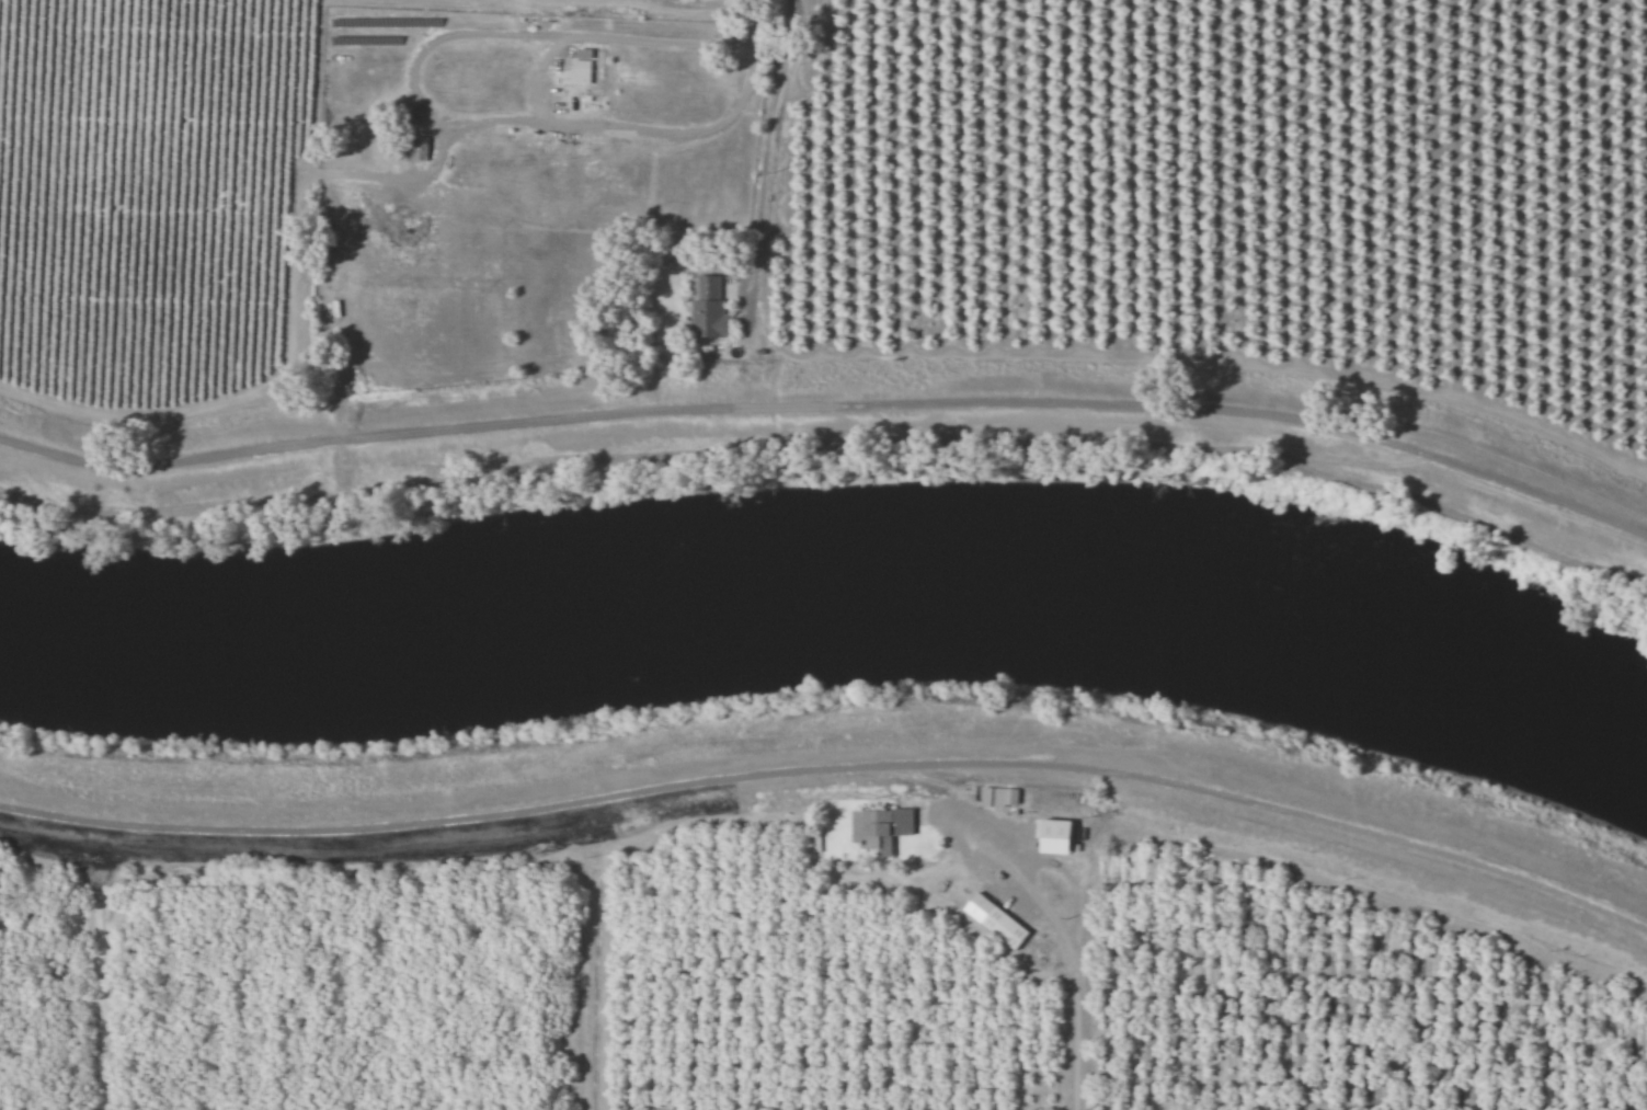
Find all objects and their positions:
road: (757, 37)
building: (581, 72)
road: (535, 94)
road: (767, 160)
building: (712, 309)
road: (830, 405)
river: (835, 598)
building: (1002, 797)
road: (830, 820)
building: (888, 828)
building: (1060, 836)
building: (997, 920)
road: (1085, 1005)
road: (1083, 1089)

